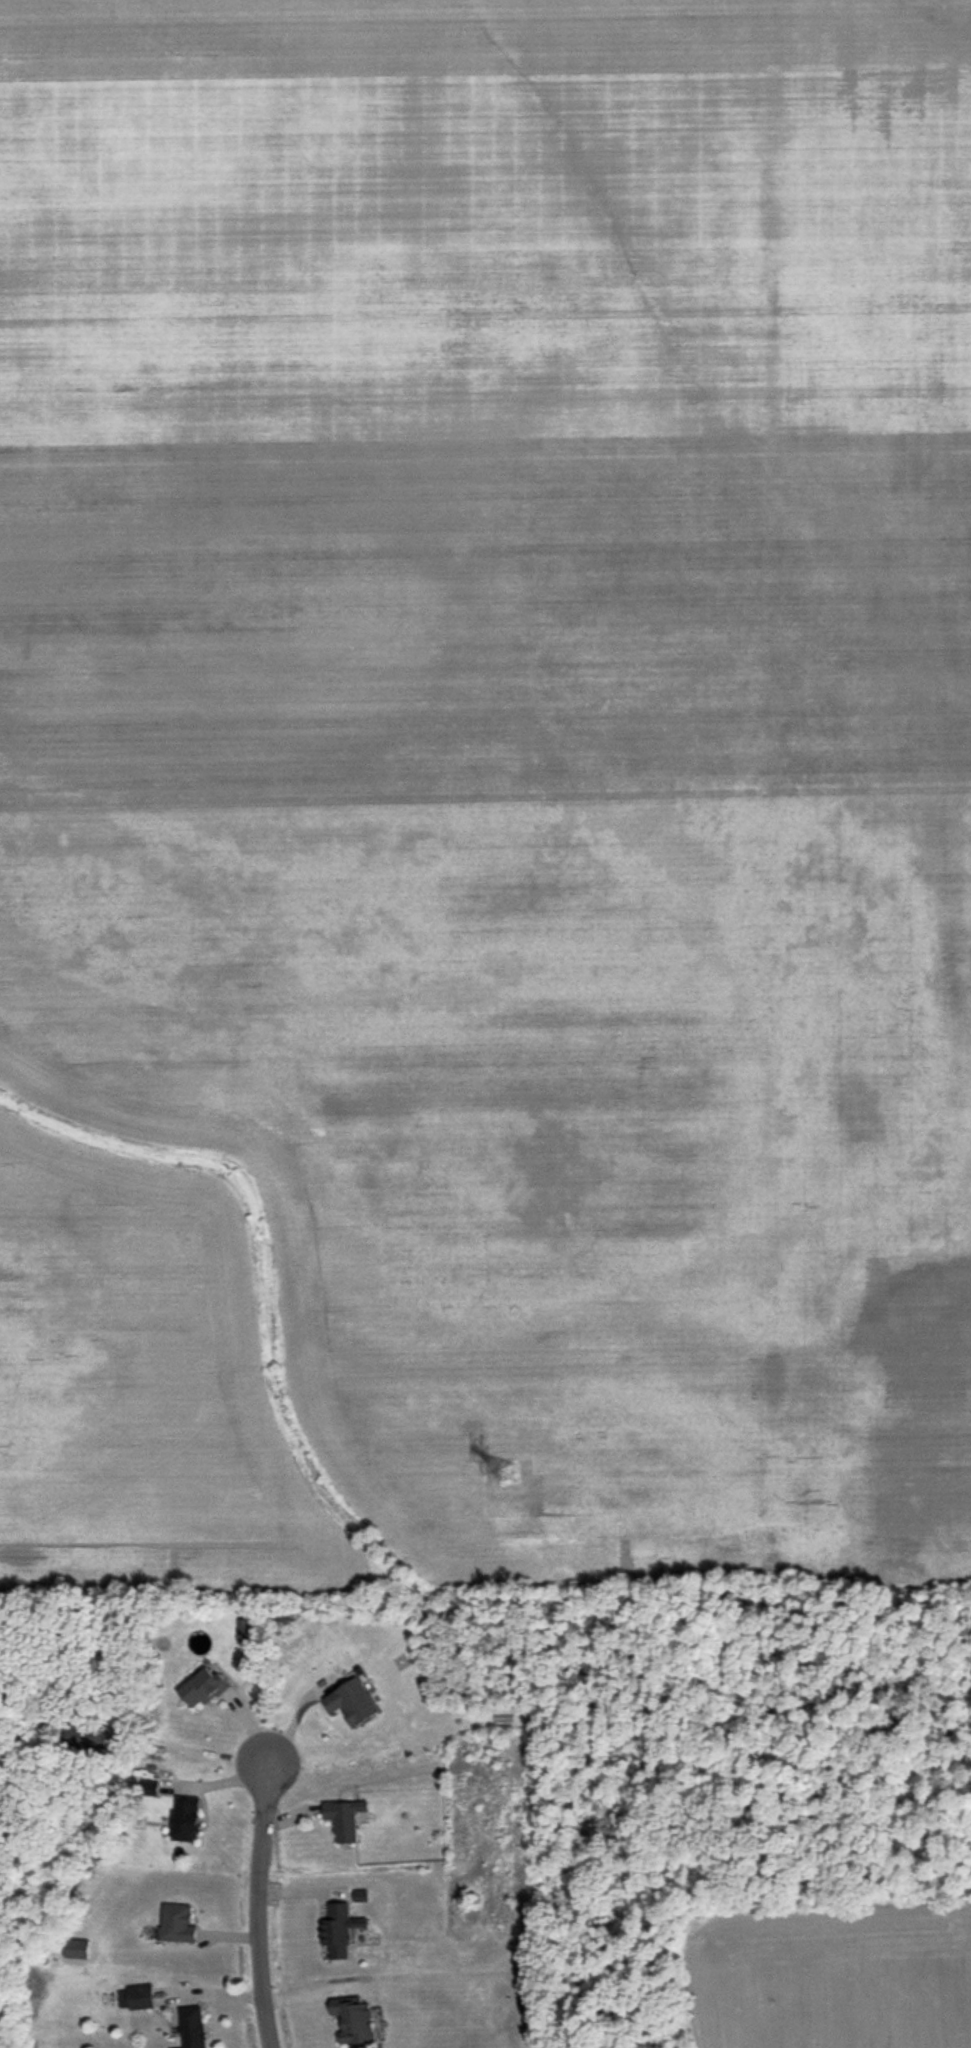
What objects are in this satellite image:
power tower: (504, 1473)
building: (243, 1626)
building: (204, 1687)
building: (353, 1701)
building: (186, 1818)
building: (345, 1818)
road: (262, 1903)
building: (177, 1923)
building: (339, 1929)
building: (76, 1948)
building: (136, 1997)
building: (358, 2021)
building: (192, 2026)

